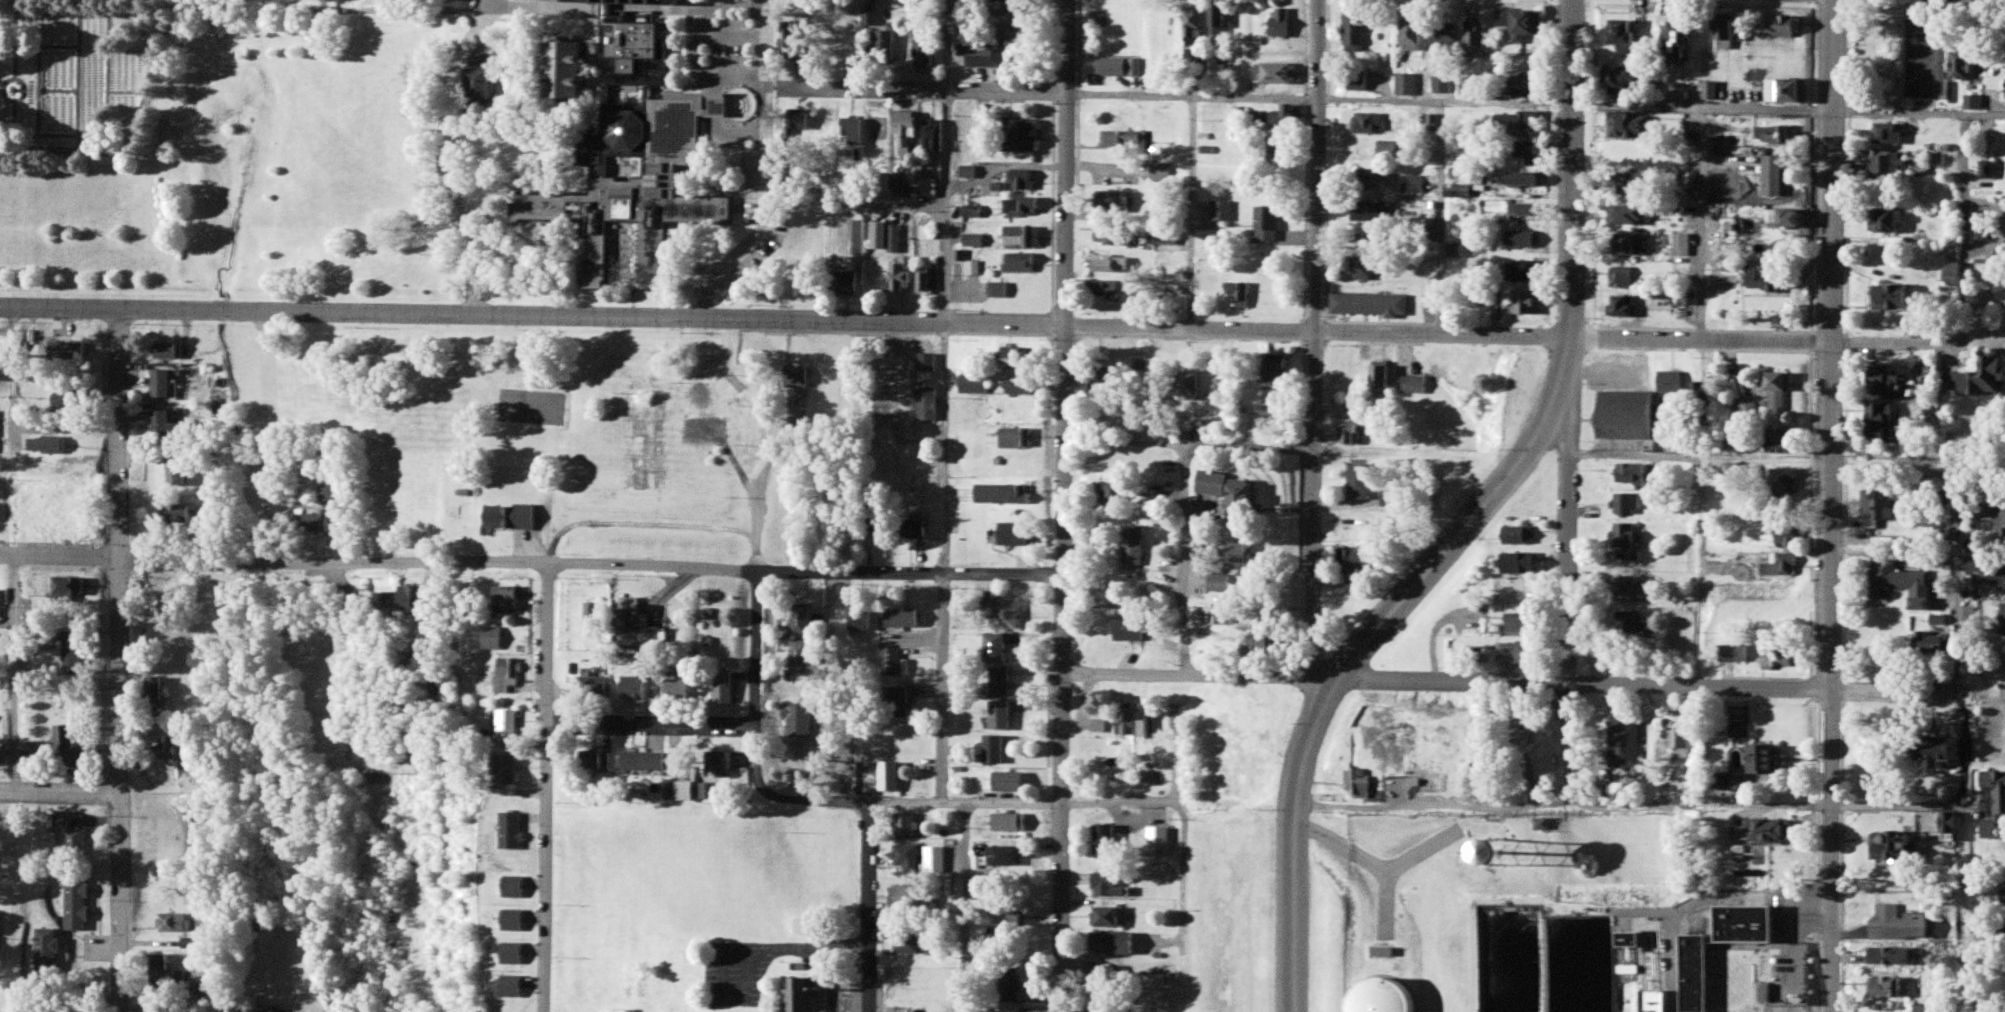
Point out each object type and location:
road: (711, 4)
road: (72, 7)
road: (318, 10)
building: (1786, 29)
building: (1625, 33)
road: (734, 37)
building: (1724, 38)
road: (700, 41)
building: (1681, 43)
building: (1962, 66)
building: (1622, 76)
park: (71, 79)
building: (1713, 92)
building: (1790, 92)
road: (916, 93)
building: (1974, 103)
road: (1509, 107)
building: (1634, 127)
building: (1888, 135)
building: (1776, 136)
road: (137, 146)
road: (1441, 157)
road: (450, 162)
building: (634, 165)
building: (1886, 165)
road: (1830, 170)
road: (765, 171)
building: (1776, 177)
building: (1632, 185)
building: (1721, 212)
building: (1634, 216)
building: (1795, 220)
building: (1888, 222)
building: (1981, 227)
building: (1635, 246)
building: (1684, 246)
building: (1623, 279)
building: (1771, 280)
building: (2001, 292)
building: (1895, 298)
building: (1626, 308)
road: (915, 324)
road: (1897, 341)
road: (1316, 364)
road: (1561, 379)
building: (1978, 381)
building: (1671, 384)
building: (1889, 385)
building: (1780, 391)
building: (1701, 396)
park: (534, 407)
building: (1749, 408)
building: (1884, 414)
building: (1627, 417)
building: (1706, 421)
road: (14, 423)
park: (525, 428)
building: (1884, 435)
building: (1780, 443)
building: (1632, 475)
building: (1785, 485)
road: (1063, 505)
building: (1879, 508)
building: (2002, 518)
building: (1965, 520)
building: (1788, 538)
road: (274, 561)
building: (1784, 567)
road: (653, 570)
road: (909, 573)
building: (1988, 573)
building: (1899, 582)
road: (1570, 584)
road: (1961, 618)
road: (828, 624)
building: (1931, 646)
road: (754, 651)
building: (1736, 655)
building: (1773, 659)
road: (123, 661)
road: (1830, 676)
road: (1510, 684)
road: (649, 728)
building: (1939, 753)
building: (1767, 762)
building: (1724, 783)
building: (1742, 783)
road: (546, 789)
road: (62, 794)
road: (879, 804)
building: (2001, 806)
building: (1951, 825)
building: (1765, 833)
road: (1296, 843)
building: (1896, 849)
building: (2004, 906)
road: (963, 907)
road: (867, 908)
building: (1900, 927)
building: (1894, 959)
building: (1383, 986)
storage tank: (1383, 986)
building: (1887, 990)

